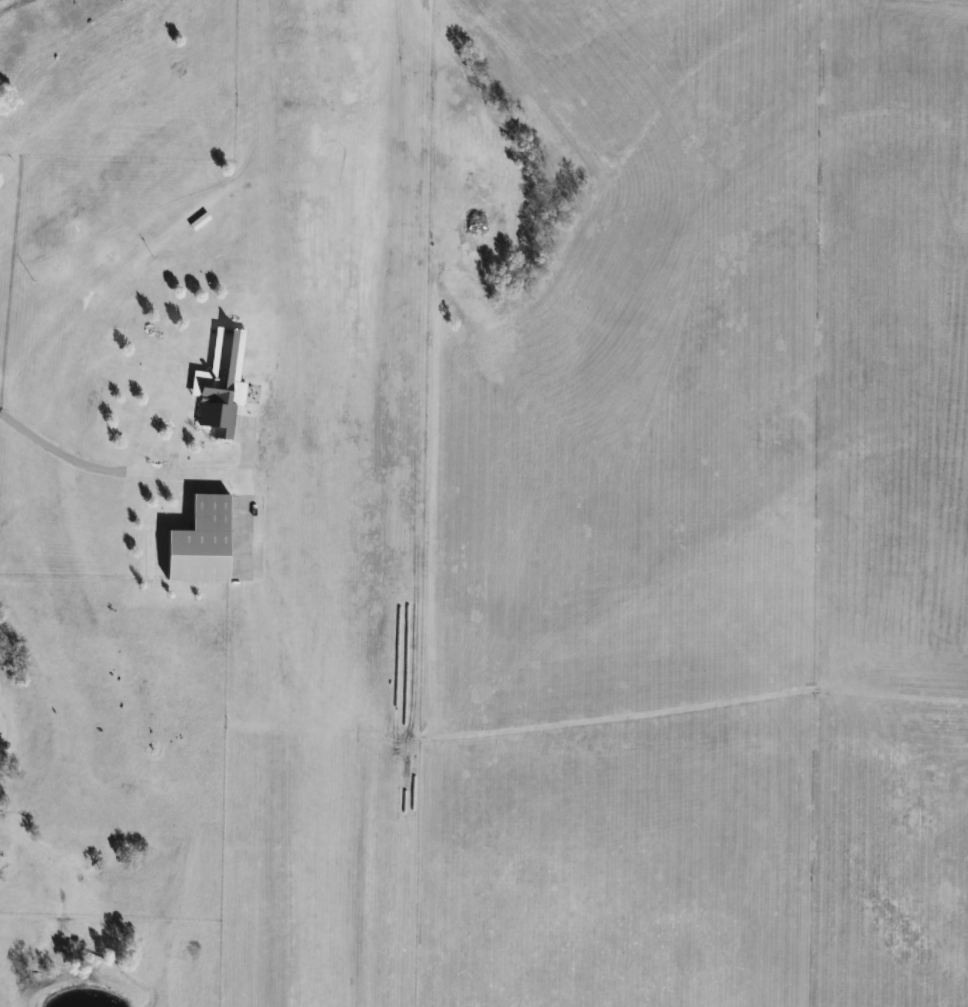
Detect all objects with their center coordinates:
building: (200, 220)
building: (221, 383)
road: (164, 404)
road: (133, 471)
airport runway: (292, 503)
airport runway: (358, 503)
building: (207, 541)

